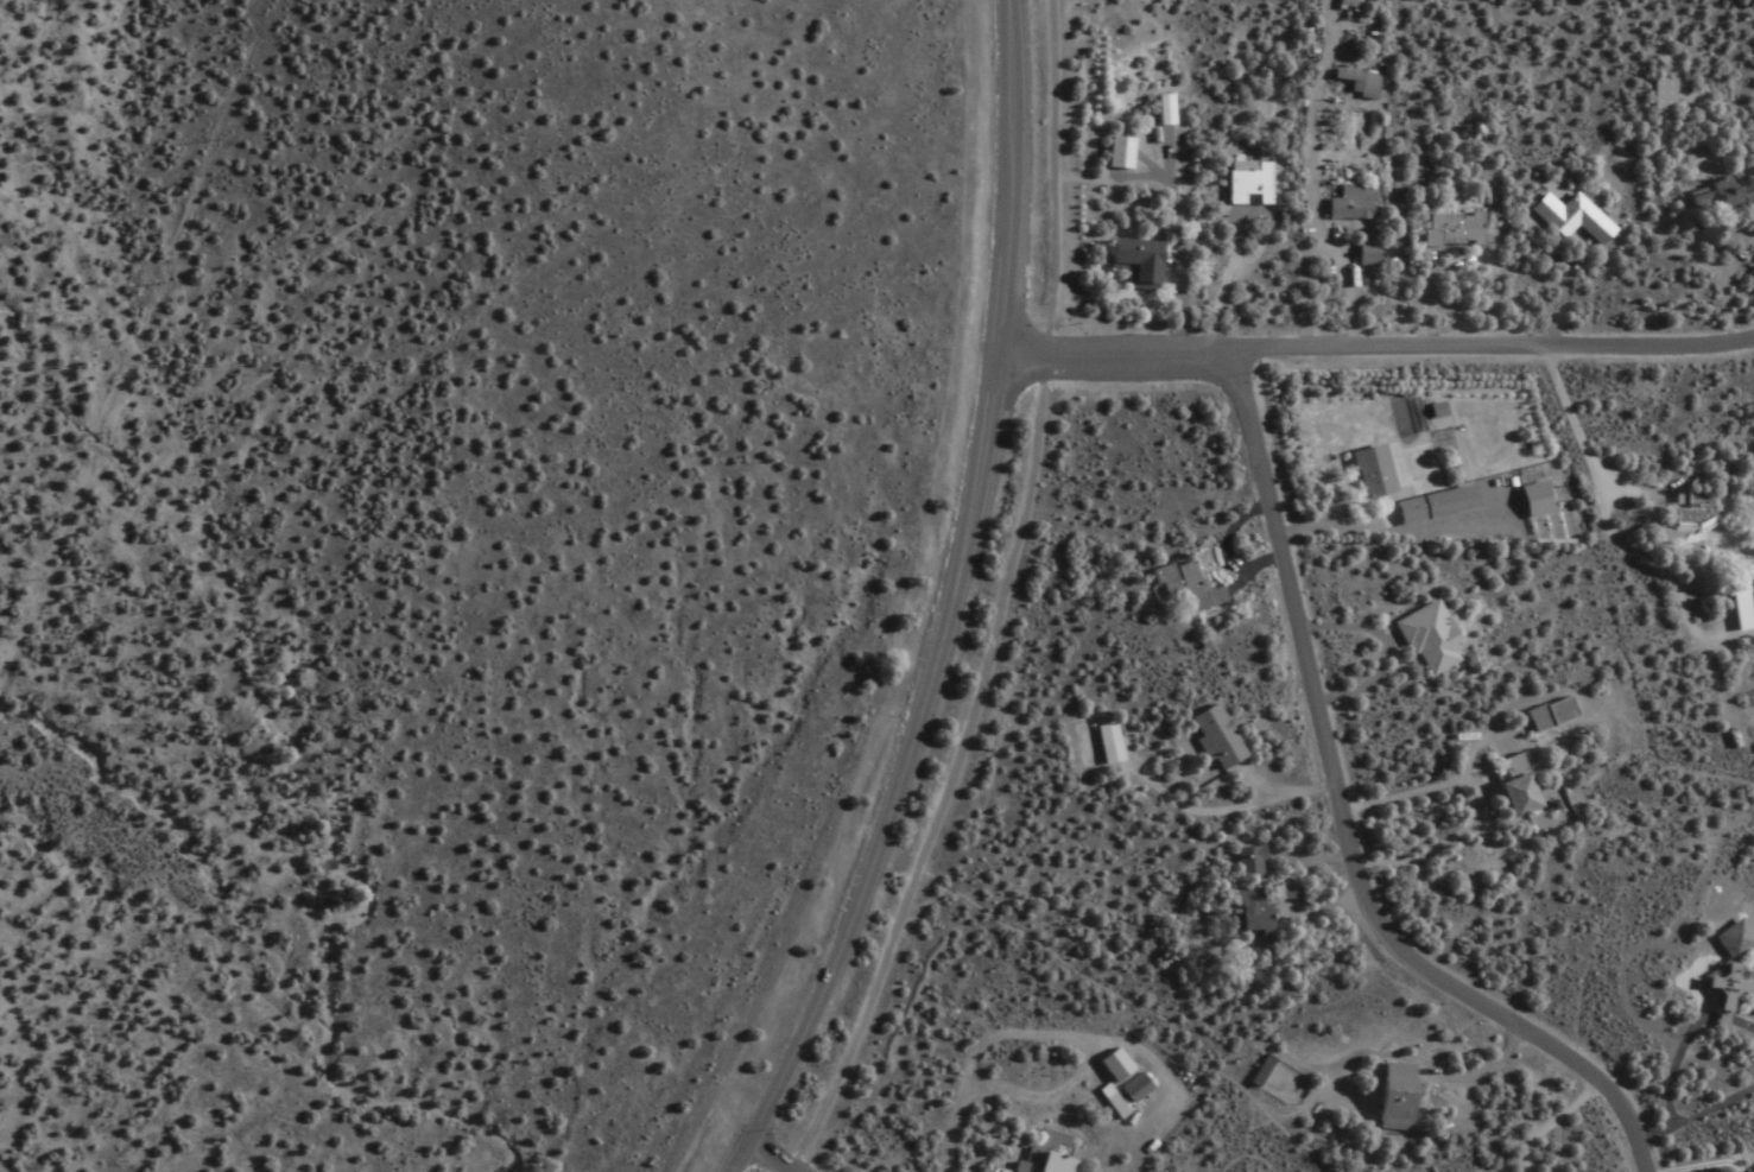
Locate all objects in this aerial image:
building: (1355, 83)
building: (1657, 95)
building: (1115, 153)
building: (1245, 185)
building: (1712, 201)
building: (1345, 204)
road: (1318, 210)
building: (1565, 218)
building: (1449, 229)
building: (1361, 254)
building: (1131, 262)
road: (1178, 262)
road: (1222, 284)
road: (1724, 287)
road: (1425, 303)
road: (1560, 303)
road: (1378, 354)
road: (1575, 425)
building: (1367, 473)
building: (1429, 506)
building: (1679, 518)
road: (1332, 526)
road: (1226, 546)
building: (1189, 589)
building: (1752, 590)
road: (1002, 602)
road: (952, 604)
building: (1737, 608)
road: (1608, 619)
building: (1424, 641)
road: (1385, 653)
building: (1545, 716)
building: (1221, 737)
building: (1112, 743)
building: (1507, 792)
road: (1290, 793)
road: (1482, 798)
road: (1348, 821)
building: (1255, 861)
road: (1326, 907)
building: (1261, 911)
road: (1134, 1002)
road: (1744, 1024)
building: (1120, 1065)
road: (1672, 1066)
road: (1483, 1070)
building: (1139, 1088)
building: (1404, 1097)
building: (1116, 1102)
road: (1689, 1119)
road: (1540, 1126)
building: (1050, 1154)
road: (772, 1157)
road: (1680, 1168)
building: (1005, 1171)
building: (1740, 1171)

